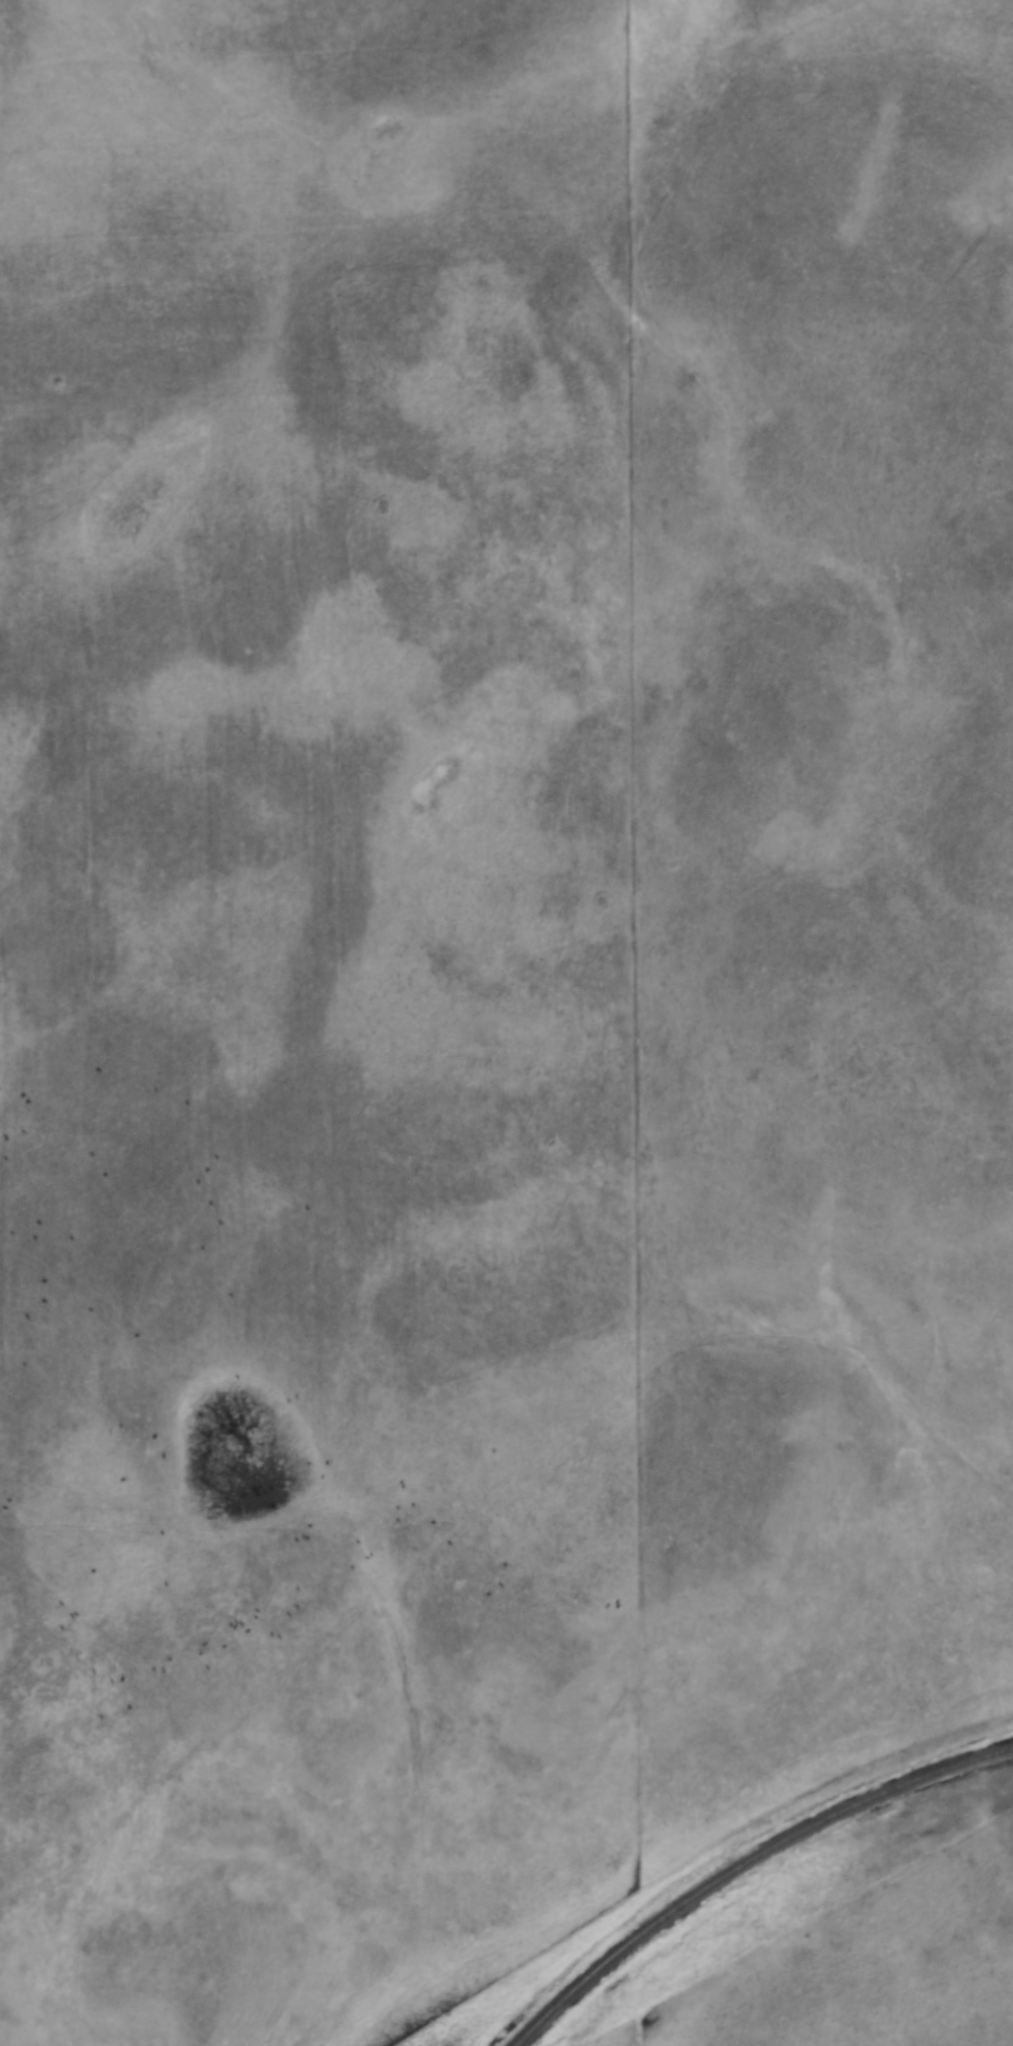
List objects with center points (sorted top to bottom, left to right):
railway: (744, 1864)

